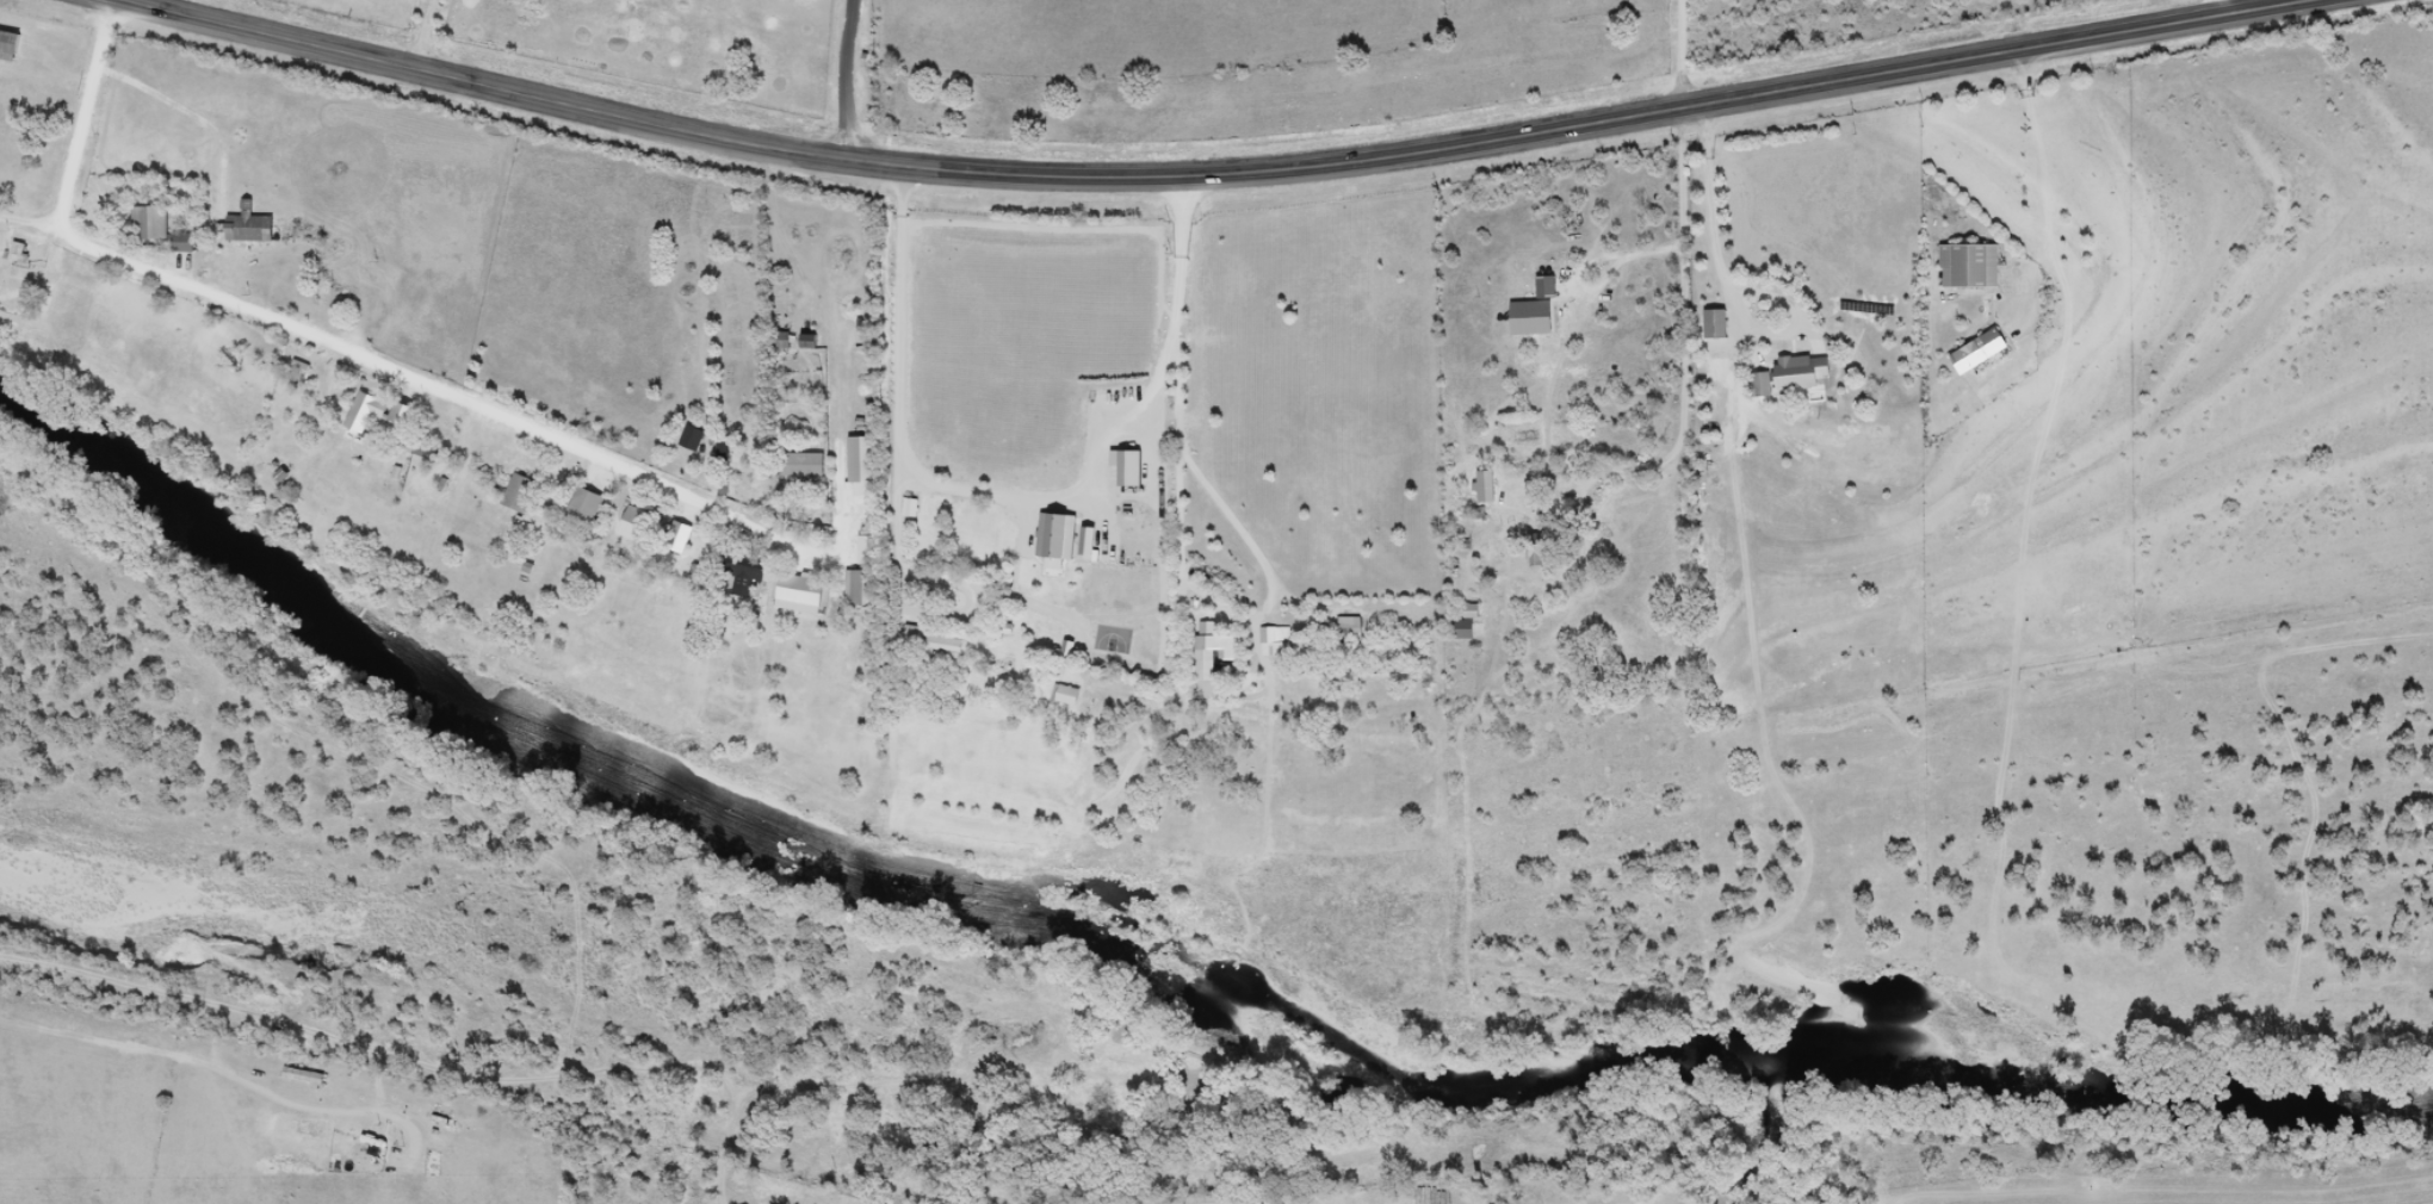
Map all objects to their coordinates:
road: (2223, 8)
road: (401, 33)
road: (1849, 42)
road: (1788, 45)
building: (14, 46)
road: (1728, 50)
road: (1677, 56)
road: (855, 82)
road: (2039, 147)
road: (1211, 174)
road: (1717, 219)
building: (159, 223)
building: (253, 232)
road: (38, 240)
building: (191, 243)
building: (26, 253)
building: (1964, 268)
road: (2062, 277)
road: (1604, 279)
building: (1531, 314)
building: (1710, 325)
road: (1684, 330)
road: (322, 339)
building: (787, 340)
building: (1973, 353)
building: (1789, 378)
road: (1177, 393)
building: (376, 410)
building: (415, 412)
building: (699, 437)
building: (809, 464)
road: (897, 464)
building: (1482, 488)
building: (531, 491)
building: (961, 492)
road: (1082, 496)
building: (595, 502)
building: (662, 528)
building: (1541, 545)
road: (1264, 566)
building: (751, 569)
building: (812, 584)
road: (905, 602)
building: (1348, 626)
building: (1460, 629)
building: (1273, 641)
building: (939, 647)
building: (1207, 651)
building: (1061, 695)
river: (1170, 1011)

